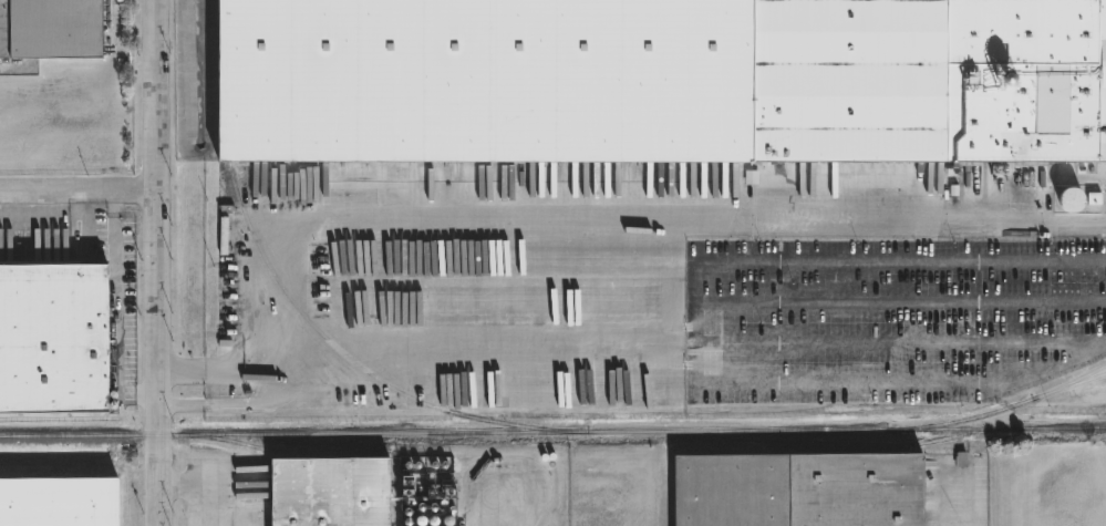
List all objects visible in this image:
building: (50, 29)
building: (657, 80)
road: (79, 187)
building: (1071, 199)
storage tank: (1072, 199)
road: (550, 221)
road: (114, 246)
road: (859, 261)
road: (158, 262)
road: (900, 299)
building: (50, 338)
road: (900, 342)
road: (694, 354)
railway: (359, 363)
road: (640, 364)
road: (225, 372)
railway: (1009, 405)
railway: (61, 416)
railway: (552, 429)
railway: (290, 450)
road: (206, 486)
building: (324, 489)
building: (796, 491)
road: (970, 497)
building: (58, 502)
road: (502, 510)

